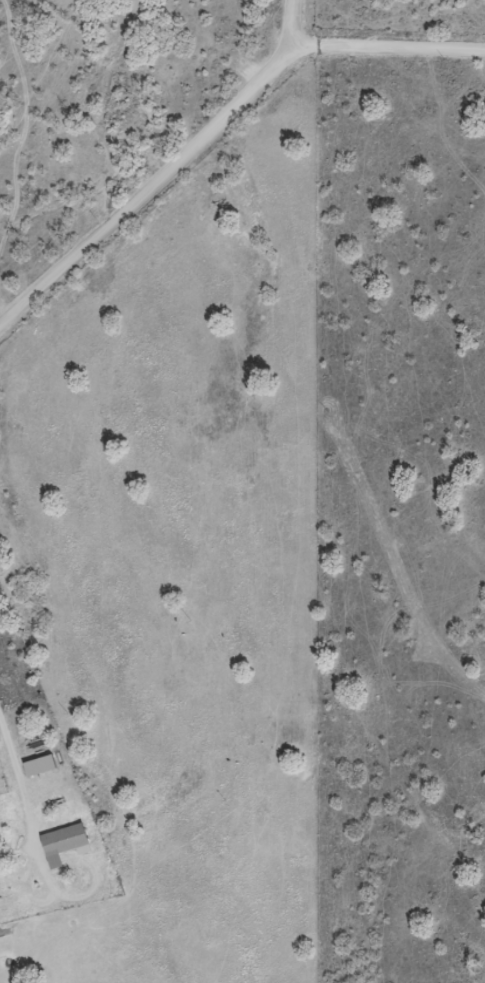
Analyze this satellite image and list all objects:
road: (295, 27)
road: (389, 49)
road: (148, 191)
building: (62, 842)

